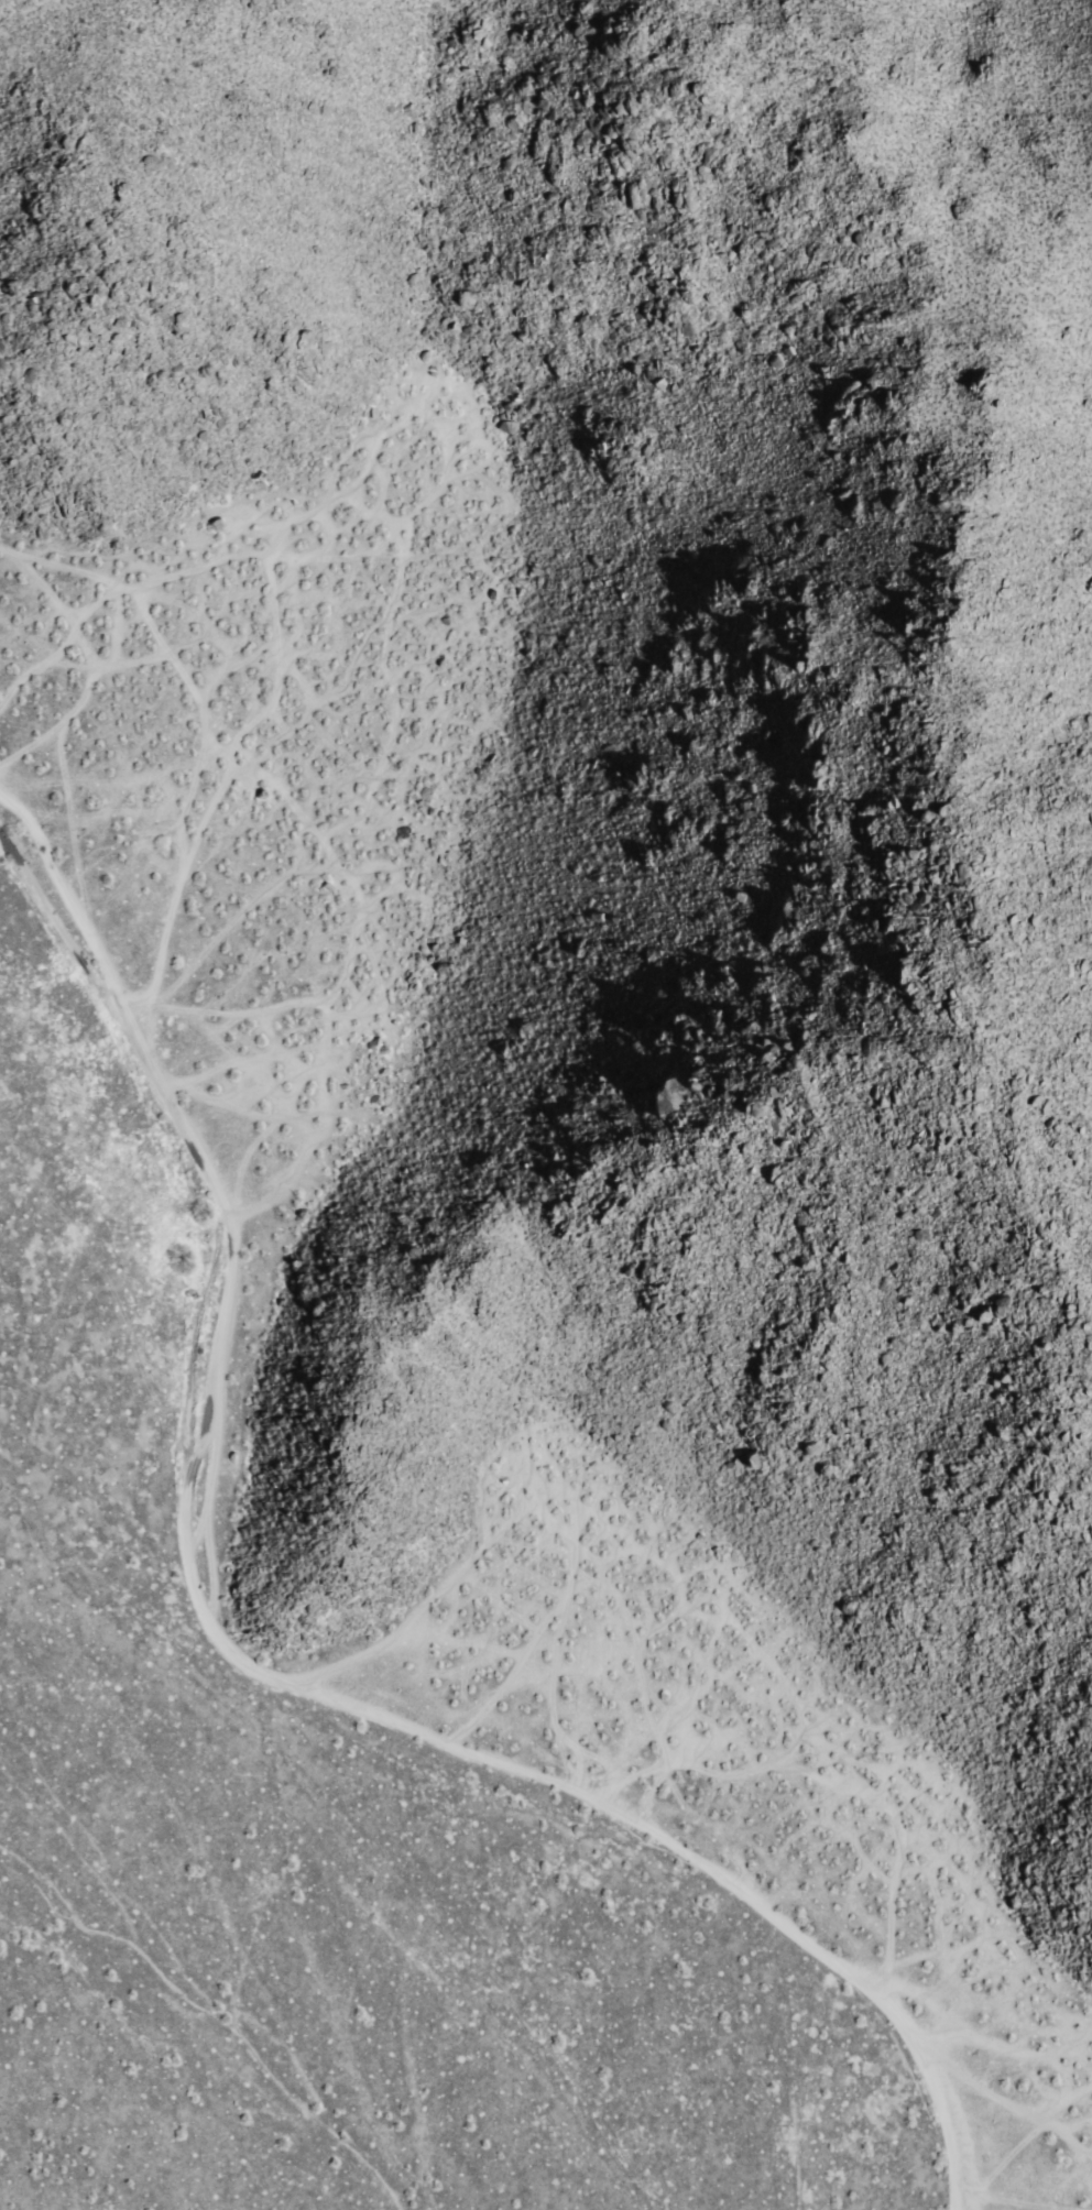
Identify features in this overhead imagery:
road: (267, 578)
road: (203, 753)
road: (326, 1026)
road: (535, 1509)
airport runway: (65, 1597)
road: (261, 1673)
road: (829, 1772)

